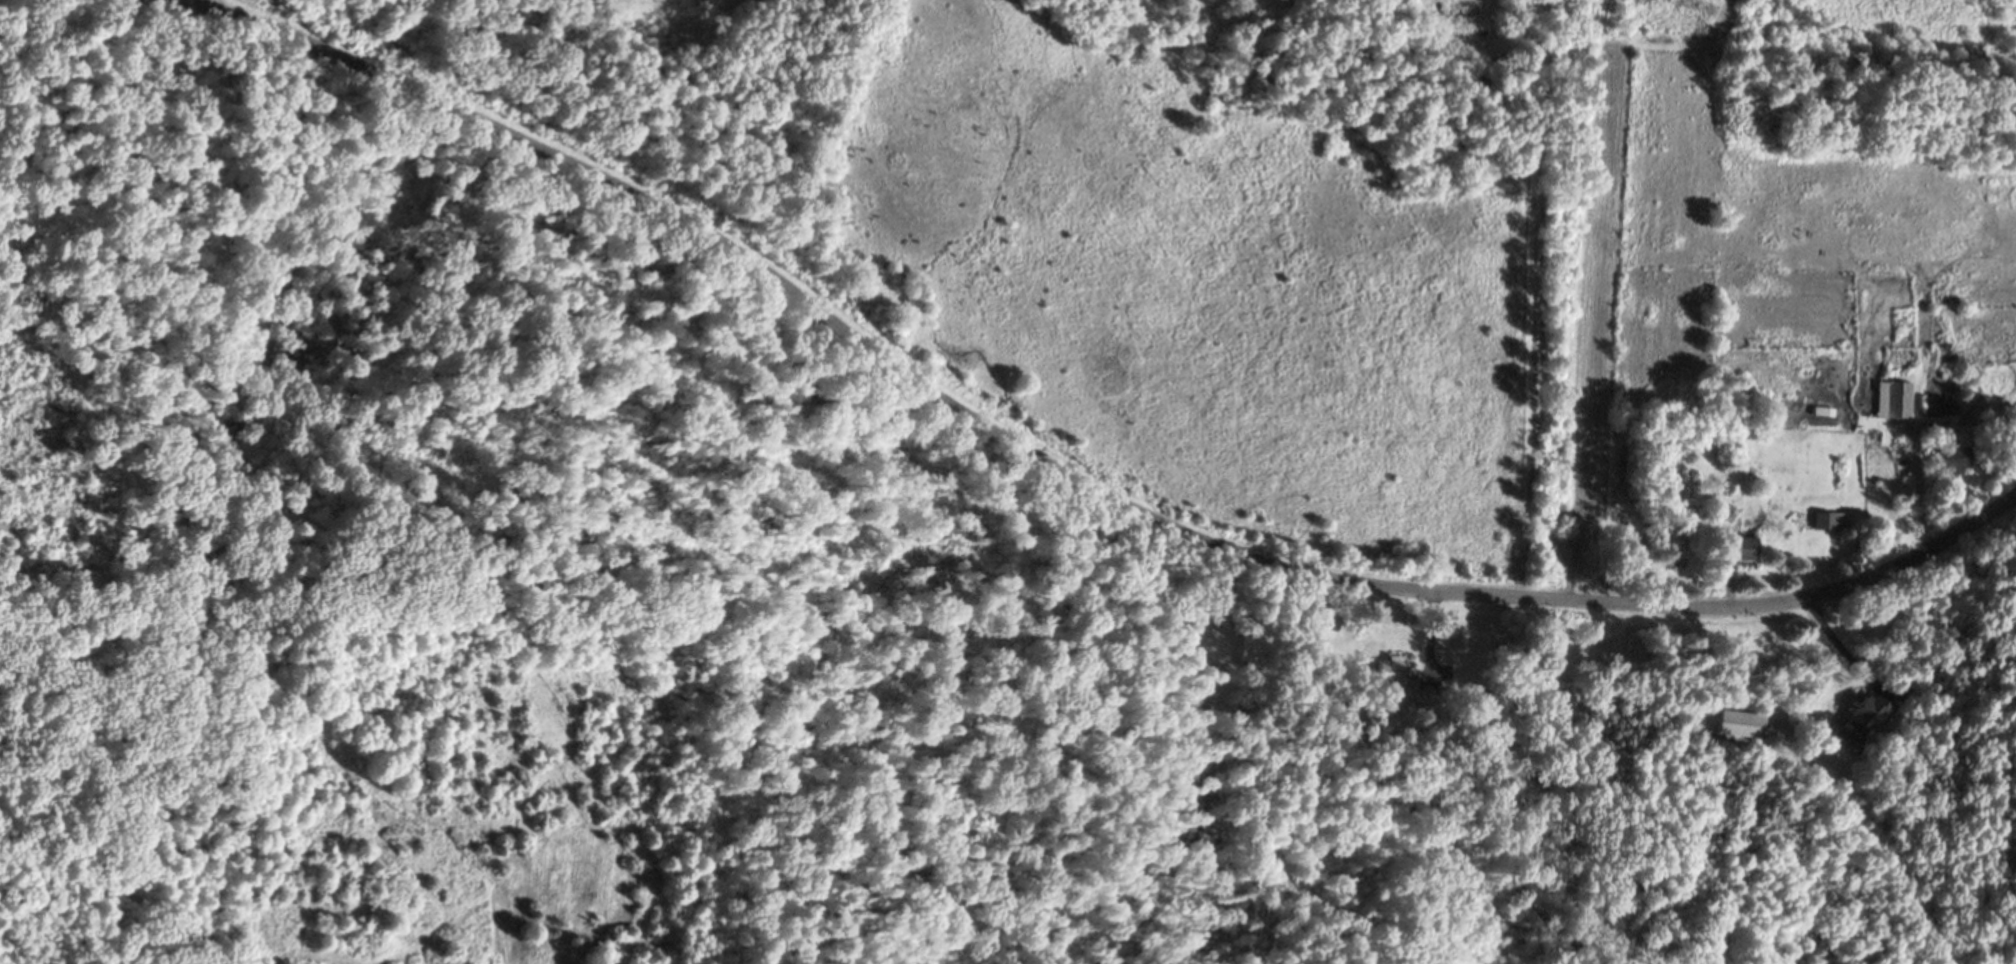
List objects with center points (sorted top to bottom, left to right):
building: (1895, 404)
building: (1953, 464)
road: (1058, 471)
building: (1829, 525)
building: (1738, 555)
building: (1313, 624)
road: (1839, 649)
building: (1391, 678)
building: (1865, 721)
building: (1741, 728)
road: (84, 872)

